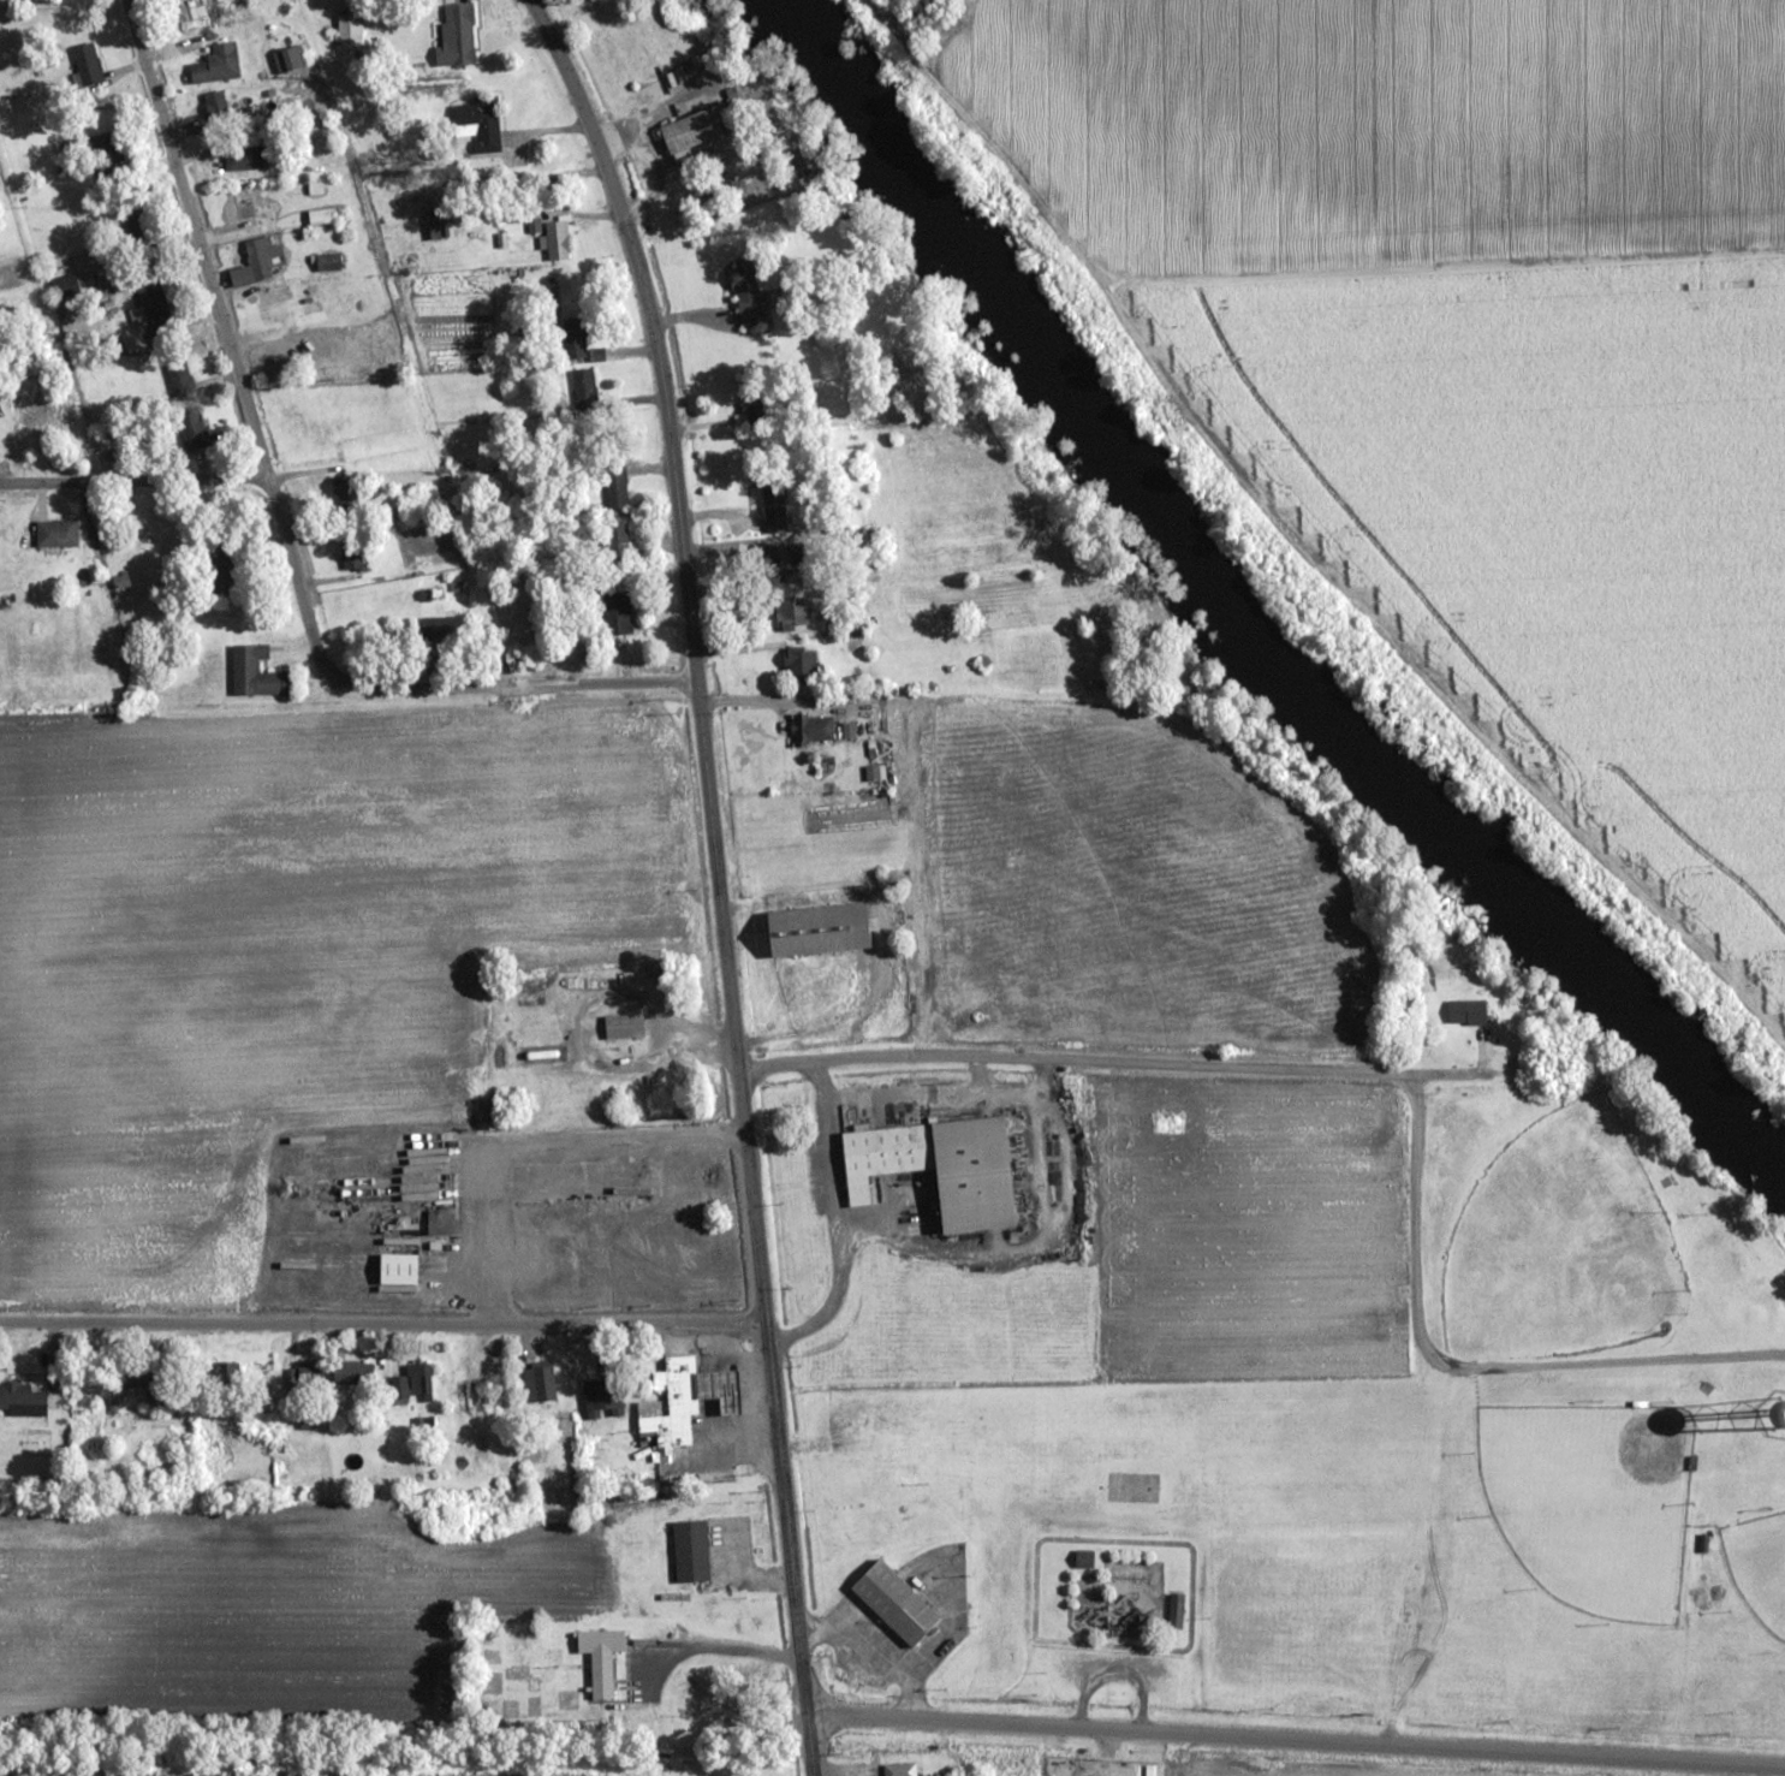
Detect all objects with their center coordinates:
building: (188, 14)
building: (349, 30)
building: (457, 34)
building: (288, 58)
building: (85, 64)
building: (218, 64)
building: (216, 105)
building: (476, 117)
building: (689, 133)
building: (105, 156)
building: (245, 158)
building: (250, 209)
building: (322, 215)
building: (136, 222)
building: (557, 239)
building: (257, 261)
building: (327, 261)
building: (72, 285)
building: (748, 296)
building: (153, 309)
road: (224, 334)
building: (576, 335)
building: (179, 376)
building: (587, 388)
building: (748, 403)
building: (41, 415)
building: (192, 428)
road: (133, 480)
building: (617, 487)
building: (345, 493)
building: (773, 499)
building: (56, 533)
building: (615, 535)
road: (1302, 539)
building: (352, 556)
building: (783, 560)
building: (221, 574)
building: (617, 612)
building: (793, 612)
river: (1245, 612)
building: (440, 626)
building: (801, 663)
building: (256, 673)
road: (508, 684)
building: (814, 729)
road: (719, 877)
building: (819, 929)
building: (561, 986)
building: (1466, 1011)
building: (624, 1026)
road: (1131, 1067)
road: (532, 1145)
building: (940, 1164)
building: (441, 1222)
building: (398, 1269)
road: (381, 1326)
building: (310, 1372)
building: (352, 1372)
building: (150, 1380)
building: (412, 1383)
building: (539, 1383)
building: (476, 1394)
building: (689, 1397)
building: (20, 1398)
building: (603, 1400)
building: (1780, 1415)
building: (933, 1431)
building: (892, 1447)
building: (691, 1550)
building: (1084, 1558)
building: (900, 1598)
building: (1176, 1611)
building: (601, 1658)
road: (1296, 1741)
building: (899, 1769)

